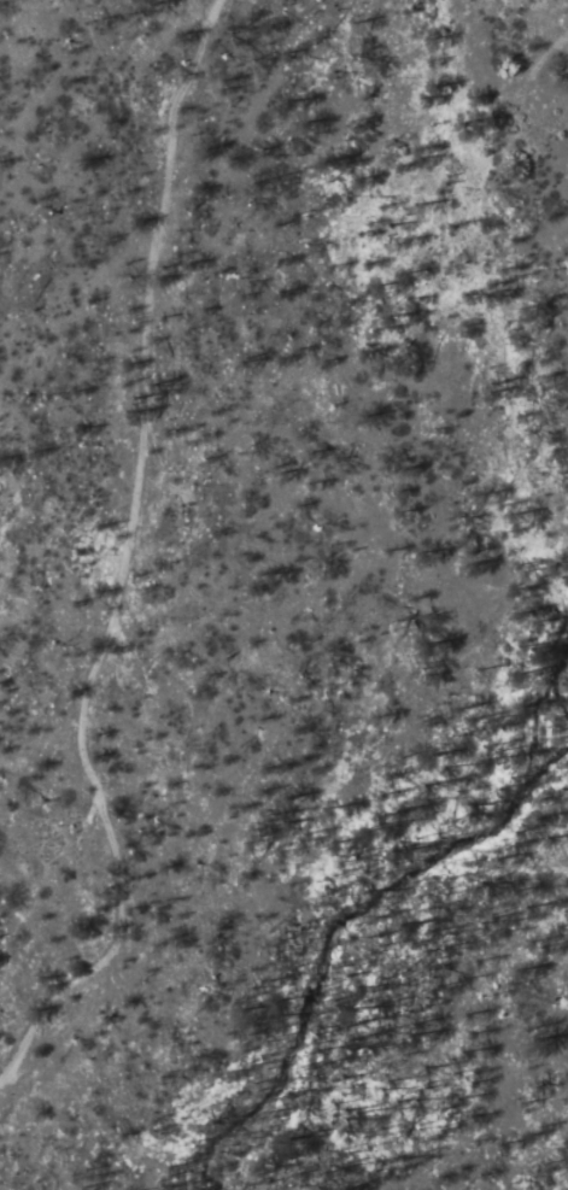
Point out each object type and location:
road: (186, 77)
road: (106, 641)

